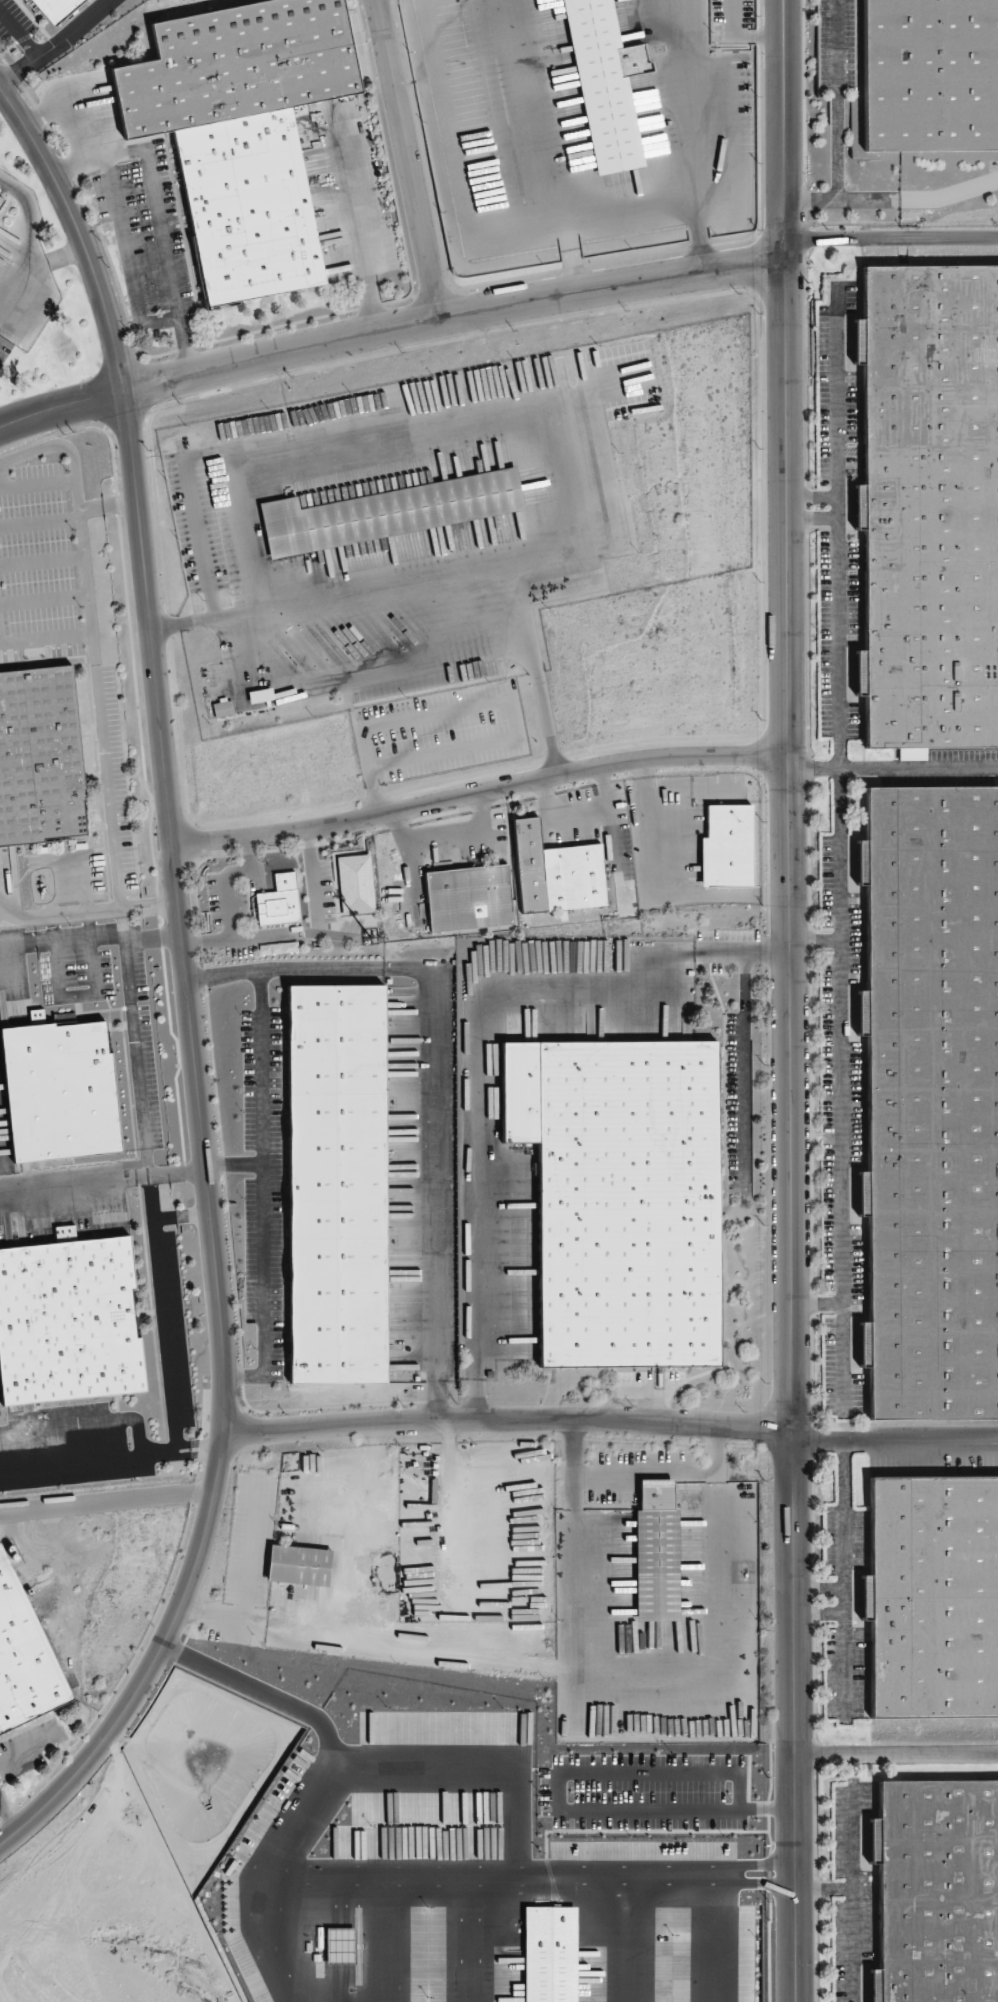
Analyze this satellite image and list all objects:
building: (55, 9)
road: (19, 35)
road: (56, 45)
building: (238, 64)
building: (929, 74)
building: (604, 85)
road: (838, 99)
road: (782, 131)
road: (95, 148)
road: (410, 158)
building: (1, 195)
road: (949, 196)
road: (841, 199)
building: (1, 201)
road: (626, 204)
building: (247, 205)
road: (116, 215)
road: (354, 221)
road: (29, 250)
road: (167, 262)
road: (387, 328)
road: (838, 415)
road: (65, 447)
road: (817, 495)
building: (929, 506)
road: (788, 508)
building: (387, 512)
road: (818, 519)
road: (433, 579)
road: (45, 639)
road: (839, 660)
building: (259, 695)
building: (222, 709)
road: (100, 740)
building: (912, 753)
building: (40, 756)
road: (479, 791)
building: (726, 847)
road: (248, 852)
building: (557, 872)
building: (355, 884)
road: (227, 887)
building: (468, 898)
building: (278, 901)
road: (166, 904)
road: (153, 905)
road: (122, 906)
road: (242, 936)
road: (815, 940)
building: (278, 948)
road: (187, 987)
road: (135, 1029)
building: (335, 1039)
road: (842, 1059)
road: (438, 1067)
building: (59, 1091)
building: (931, 1100)
road: (790, 1131)
road: (234, 1163)
building: (336, 1166)
road: (177, 1171)
road: (263, 1191)
building: (621, 1196)
building: (65, 1233)
building: (337, 1311)
road: (162, 1314)
building: (68, 1322)
road: (508, 1419)
road: (198, 1444)
road: (198, 1454)
road: (107, 1499)
building: (656, 1552)
building: (299, 1565)
building: (933, 1597)
building: (24, 1658)
road: (896, 1753)
road: (823, 1888)
building: (937, 1890)
road: (851, 1897)

